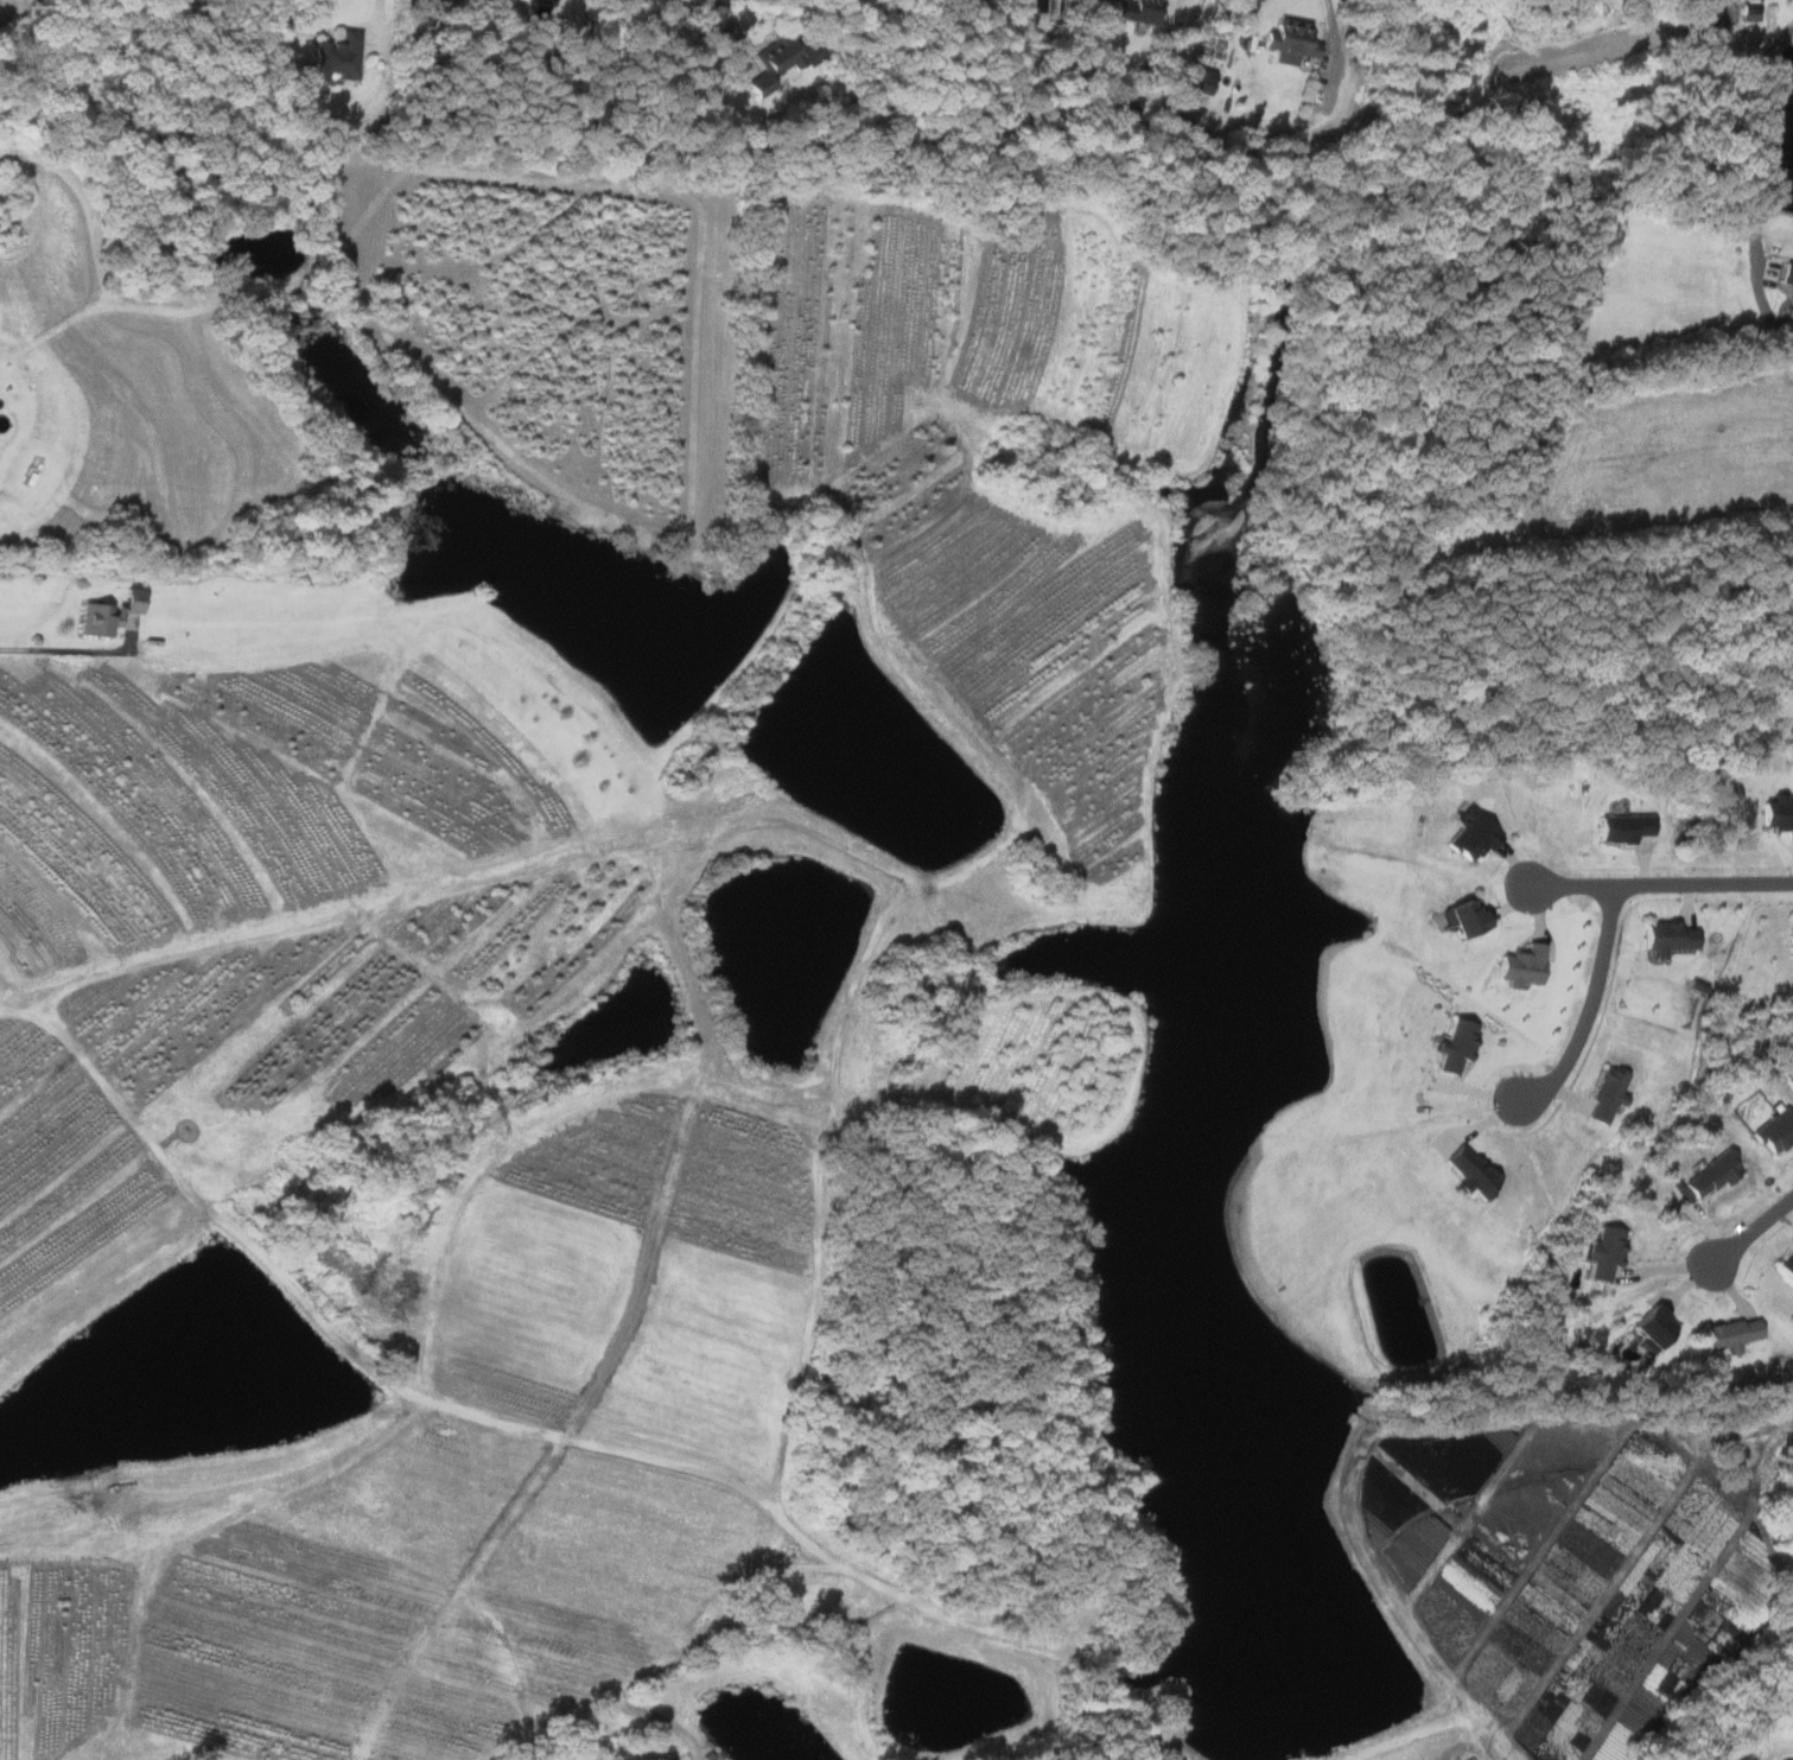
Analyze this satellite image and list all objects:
building: (444, 0)
building: (1132, 11)
building: (1750, 12)
road: (376, 23)
building: (1706, 25)
road: (1334, 26)
road: (737, 30)
building: (1287, 42)
building: (333, 57)
building: (777, 62)
building: (1198, 80)
road: (1753, 138)
building: (1786, 274)
building: (106, 614)
road: (66, 649)
building: (1778, 815)
building: (1622, 828)
building: (1471, 837)
road: (1658, 887)
building: (1464, 919)
building: (1666, 939)
building: (1791, 945)
building: (1520, 967)
road: (1592, 1005)
building: (1454, 1044)
building: (1606, 1095)
building: (1775, 1131)
building: (1469, 1170)
road: (1751, 1232)
building: (1602, 1252)
building: (1787, 1265)
building: (1651, 1326)
building: (1729, 1334)
road: (568, 1438)
road: (1457, 1722)

